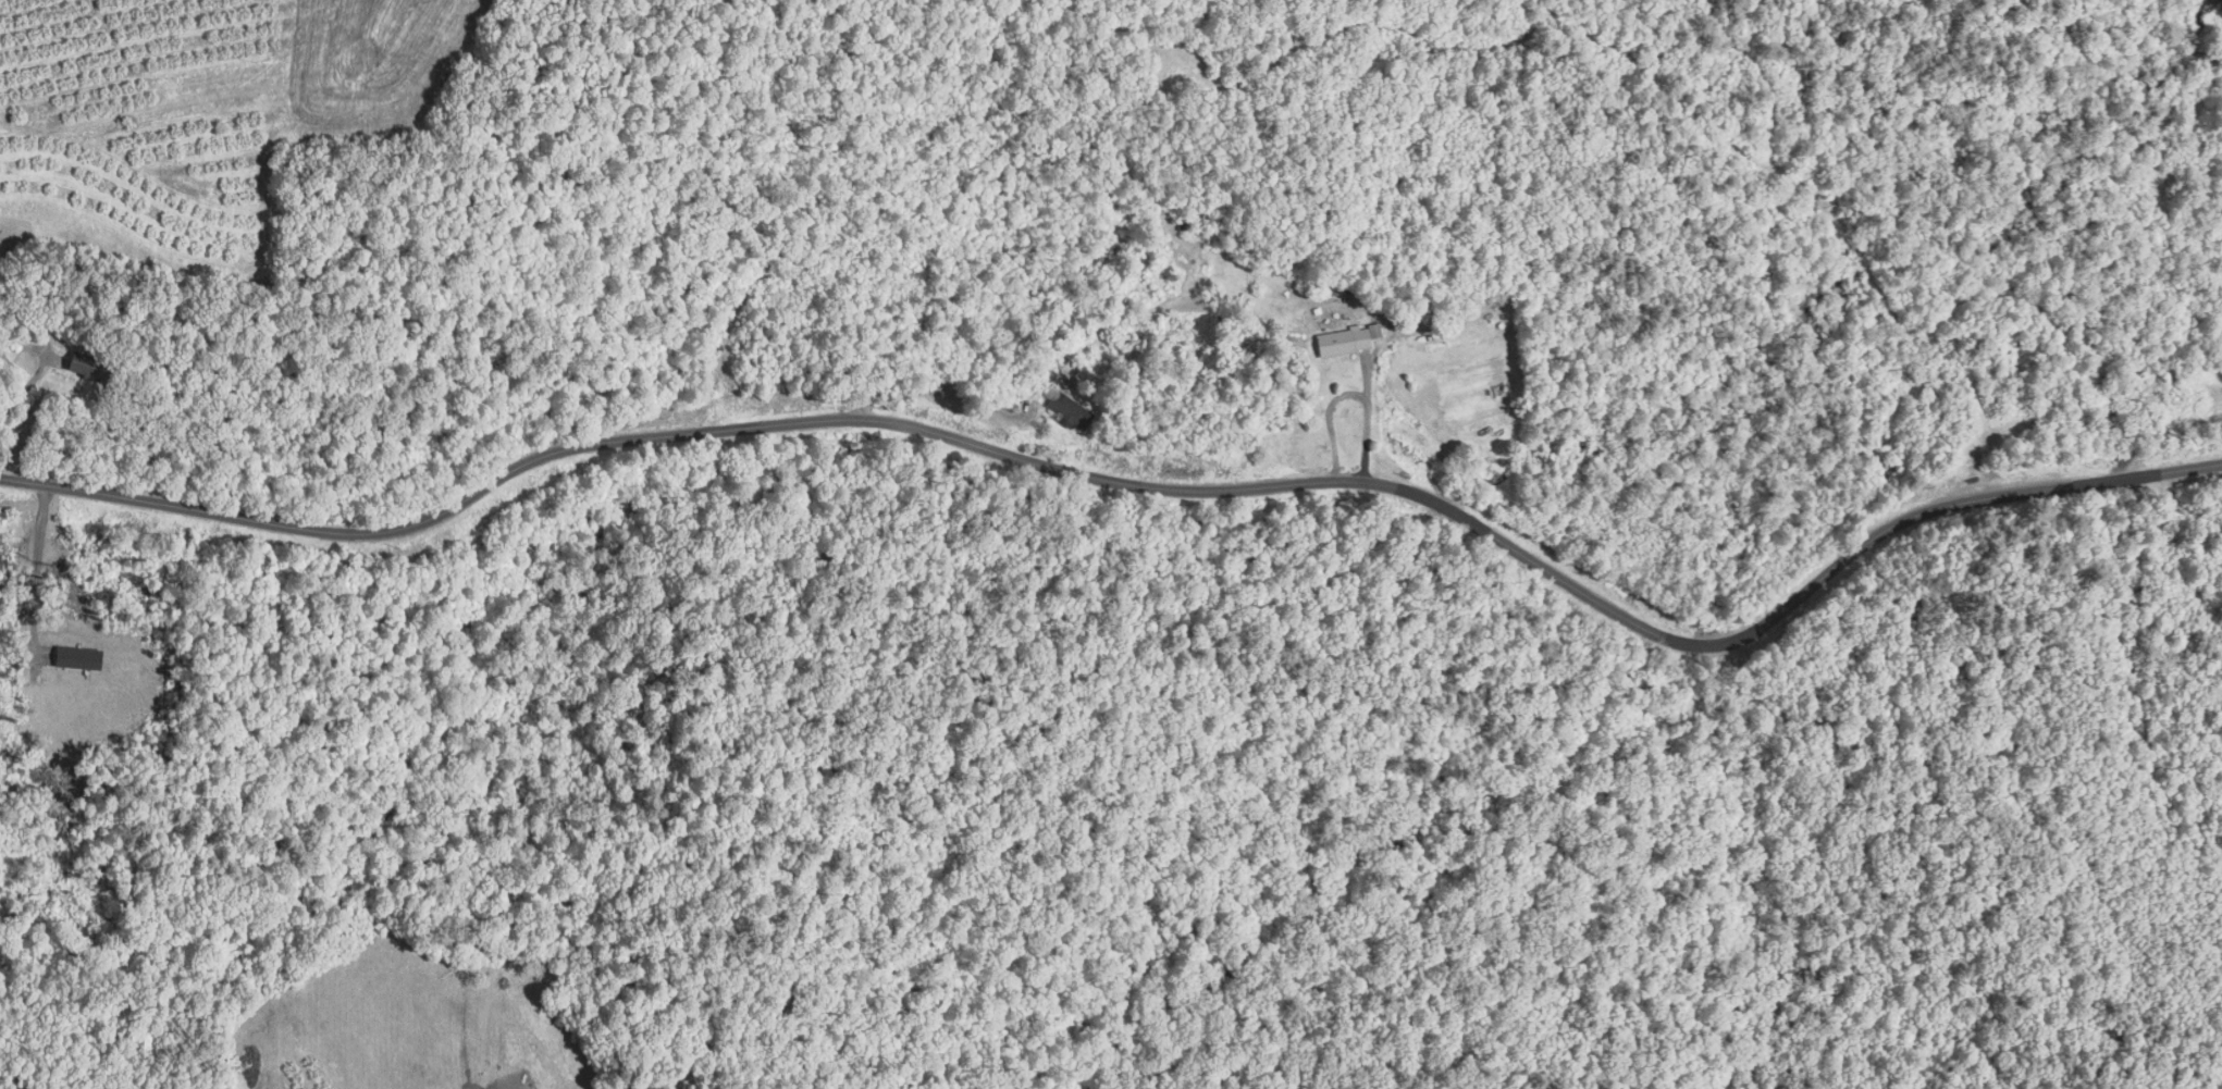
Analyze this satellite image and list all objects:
building: (1186, 223)
building: (1346, 341)
building: (85, 366)
road: (41, 370)
building: (1069, 410)
road: (1369, 417)
road: (1140, 483)
building: (76, 656)

